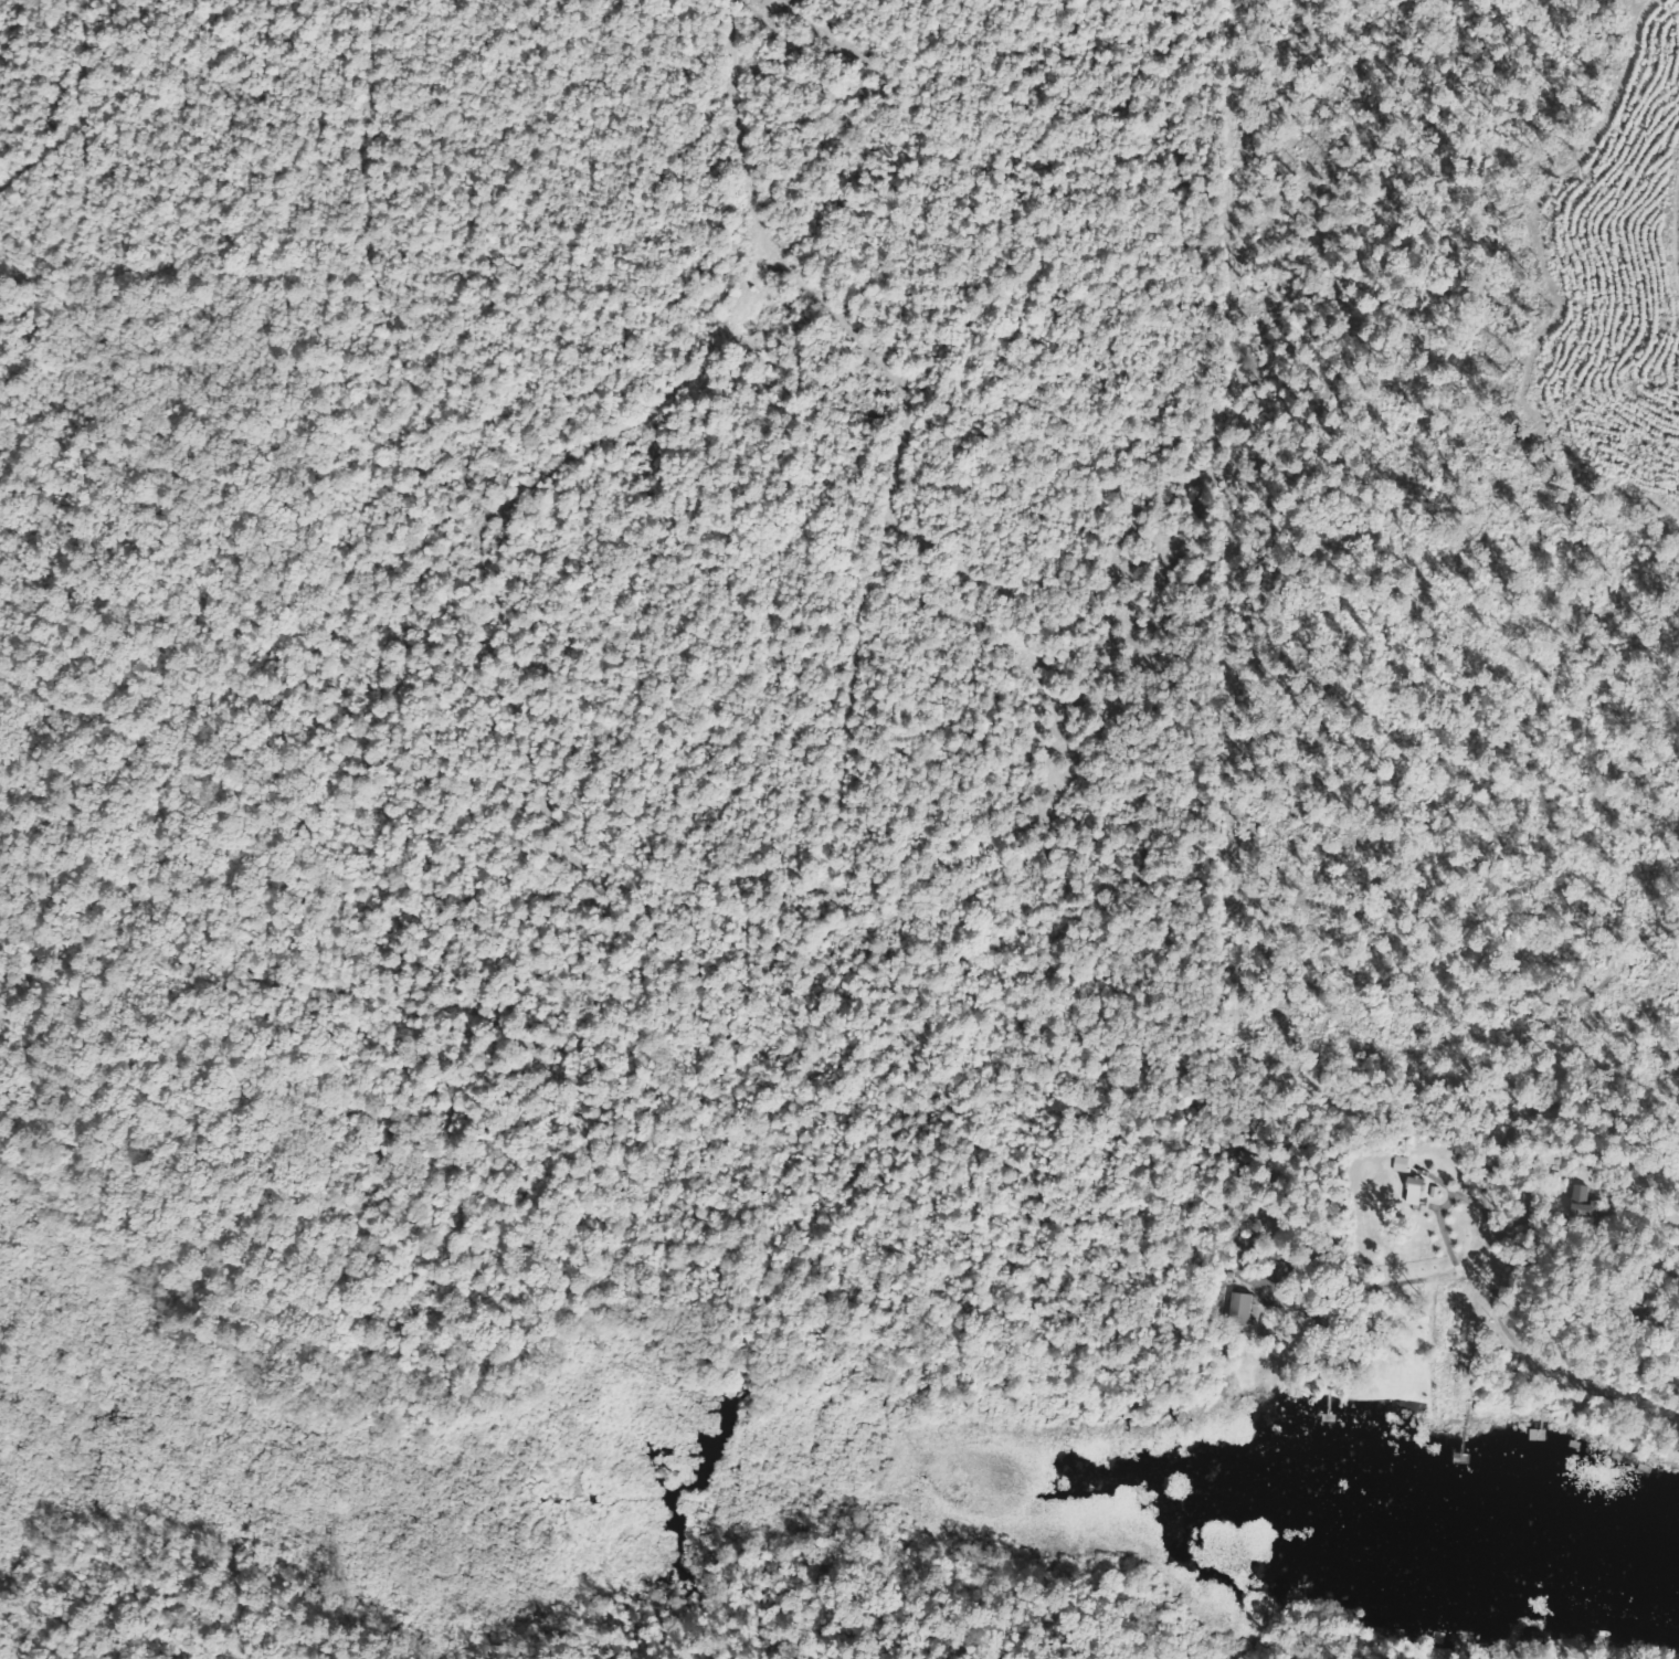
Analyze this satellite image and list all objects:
road: (1661, 234)
building: (1404, 1163)
building: (1419, 1193)
building: (1243, 1309)
road: (1497, 1322)
river: (337, 1529)

